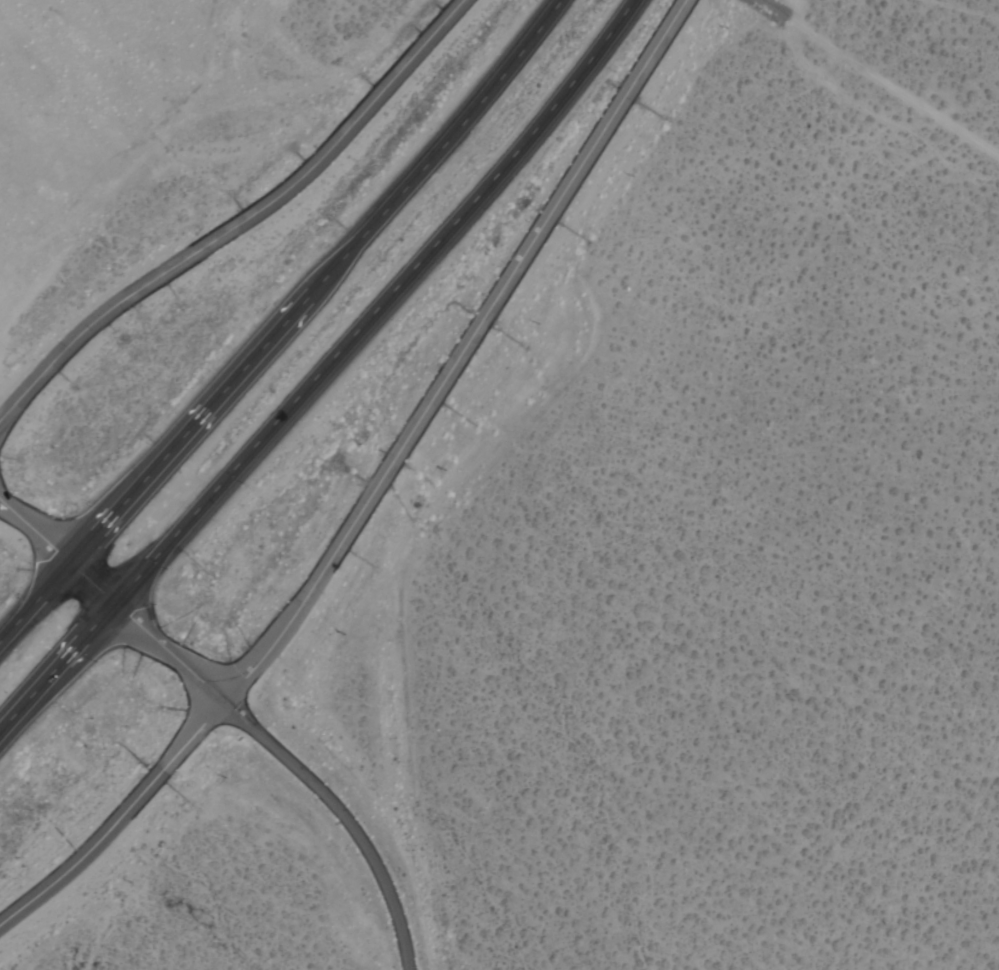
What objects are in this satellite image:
road: (770, 10)
road: (242, 223)
road: (283, 324)
road: (321, 371)
road: (375, 488)
road: (237, 716)

